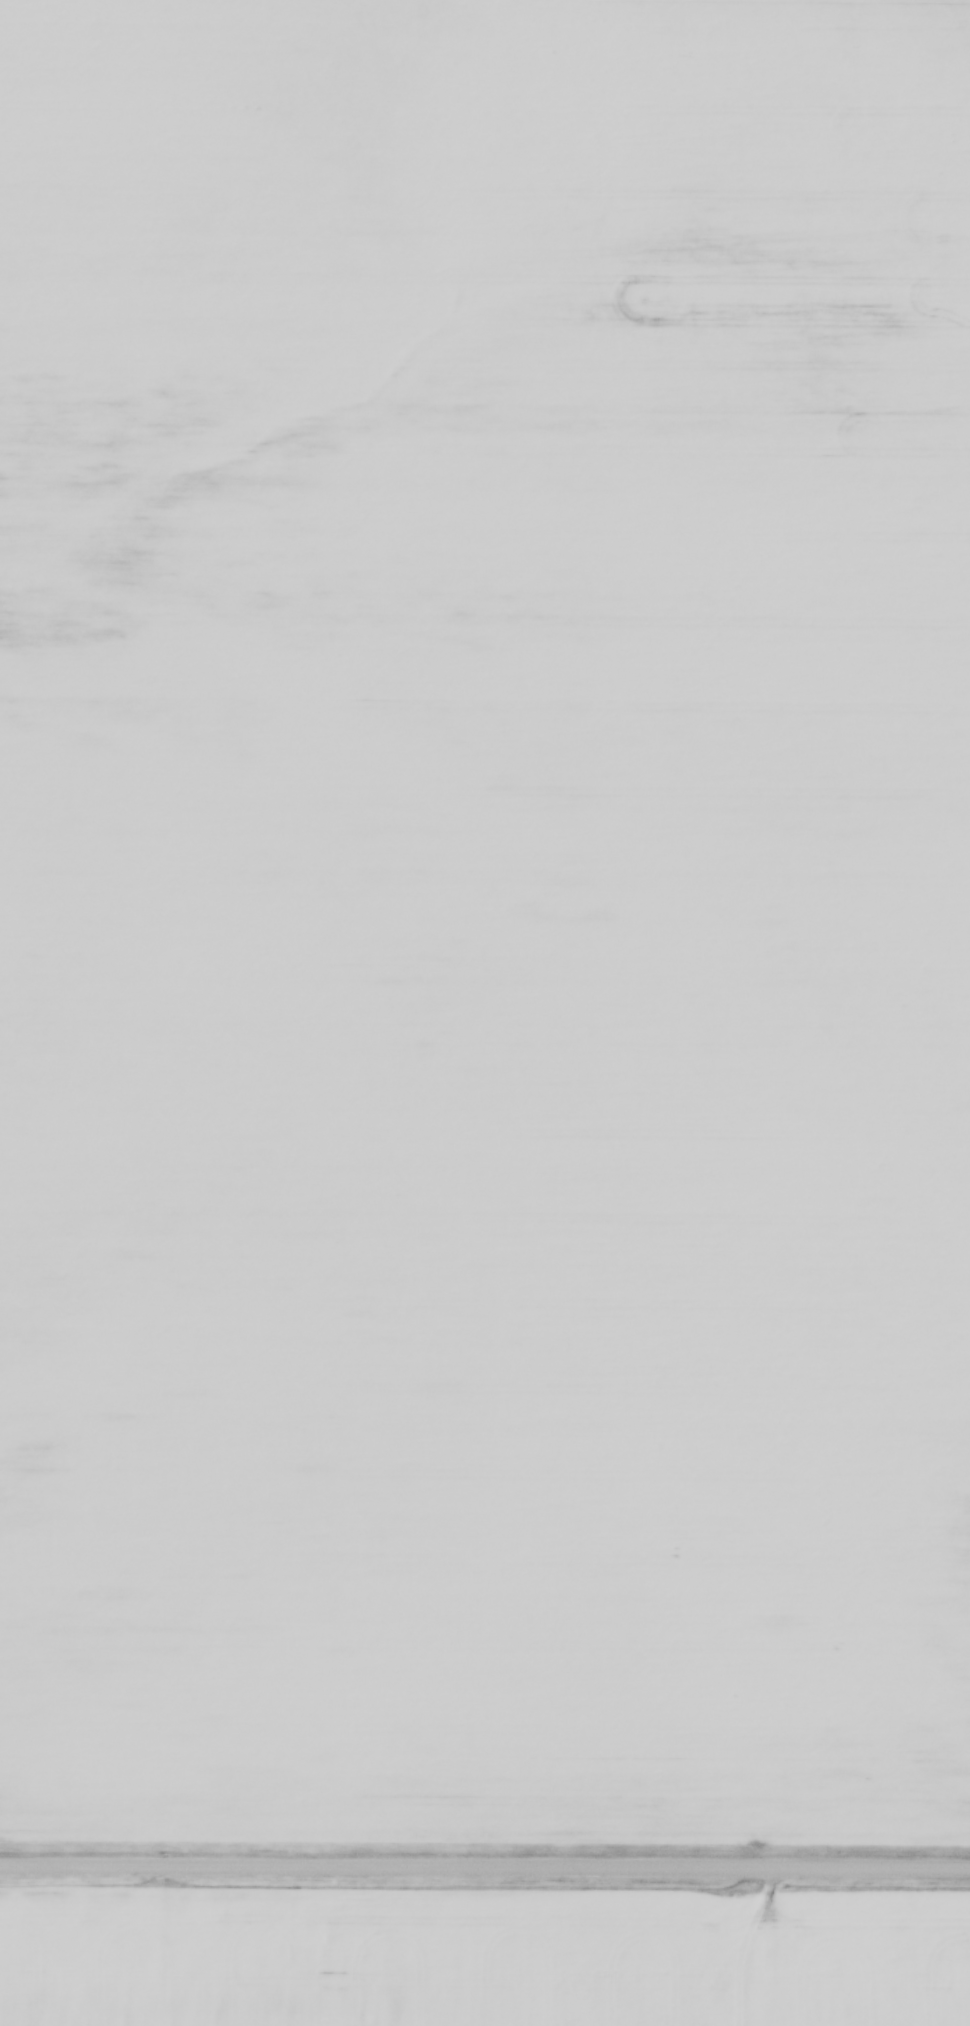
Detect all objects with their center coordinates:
road: (484, 1868)

